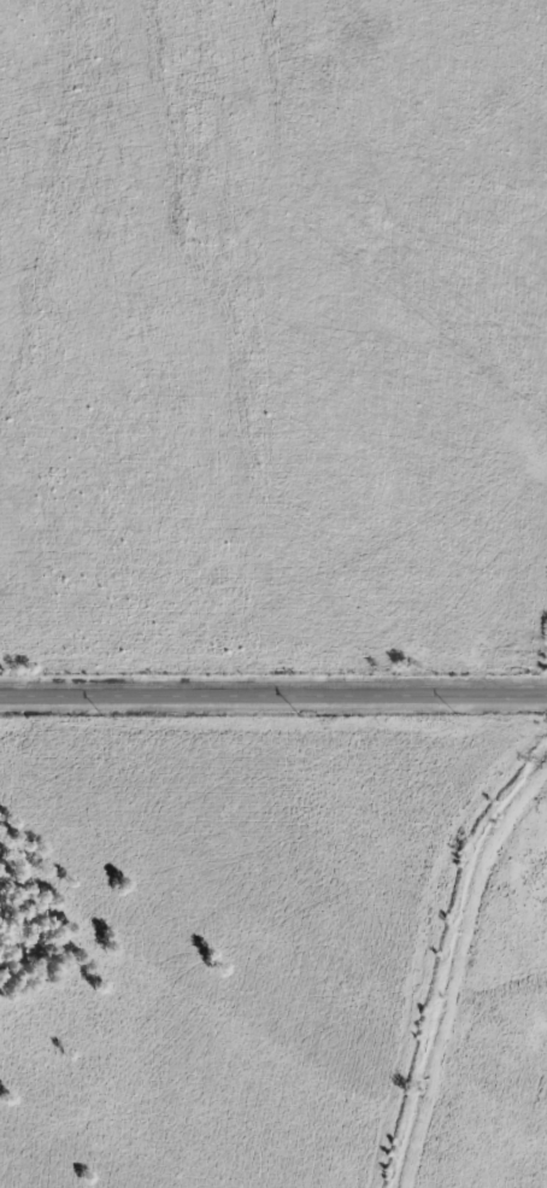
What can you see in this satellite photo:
road: (273, 698)

